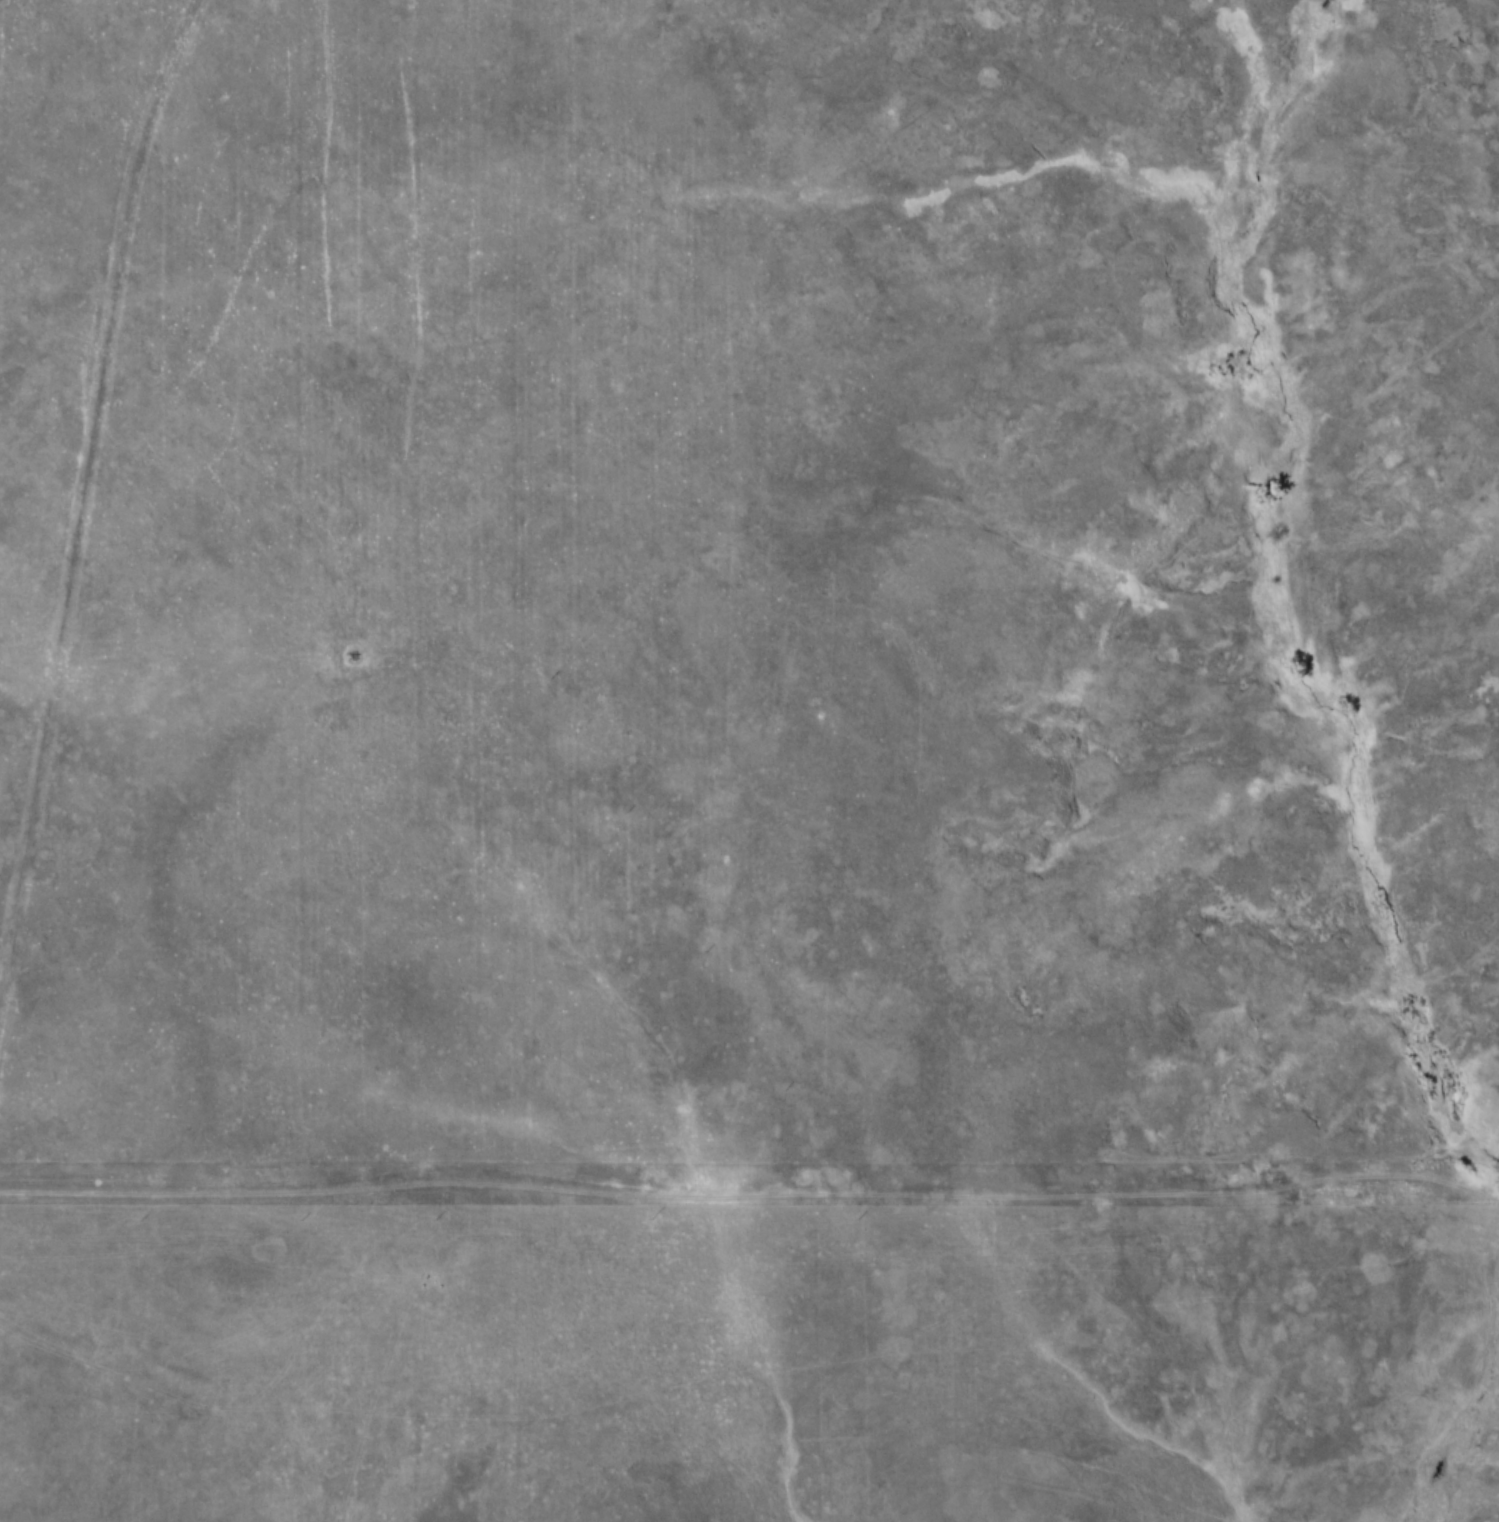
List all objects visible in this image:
road: (626, 1198)

